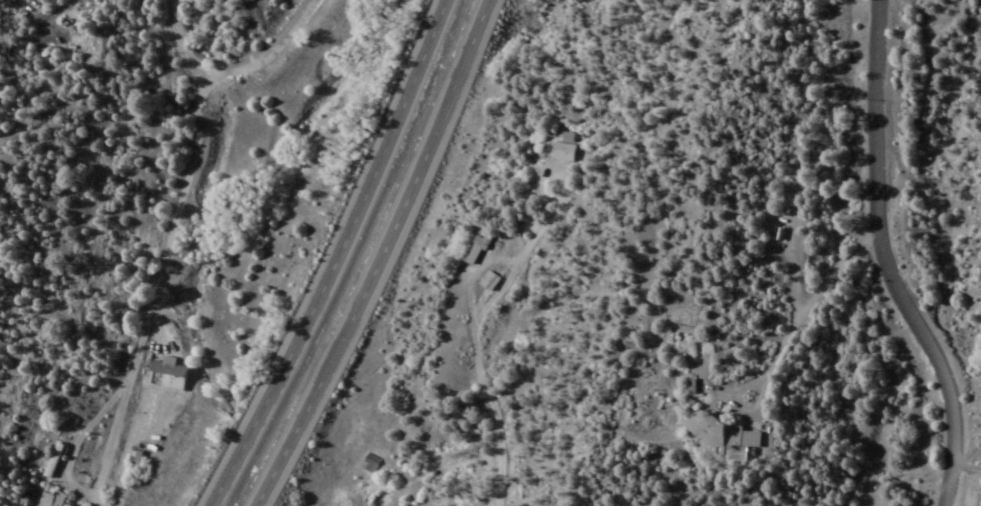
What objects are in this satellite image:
road: (93, 90)
building: (563, 149)
road: (160, 211)
road: (385, 254)
building: (471, 254)
road: (335, 255)
road: (876, 259)
building: (487, 282)
building: (165, 374)
building: (723, 438)
building: (133, 455)
building: (49, 460)
building: (370, 464)
building: (49, 500)

